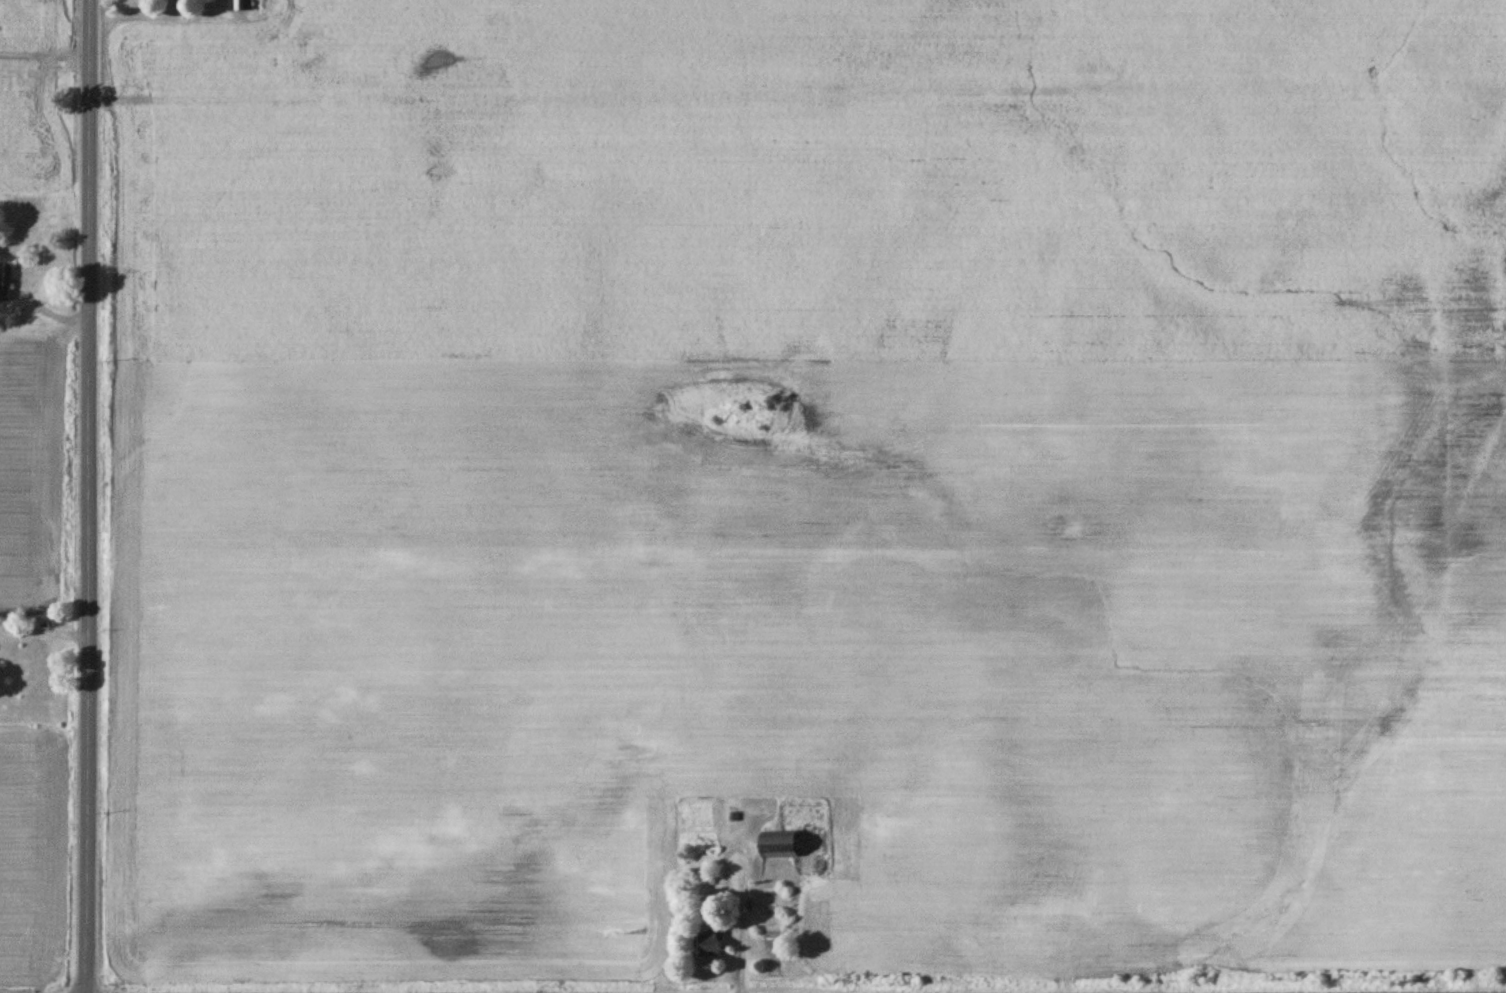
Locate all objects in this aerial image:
building: (239, 6)
road: (45, 55)
road: (578, 113)
building: (4, 282)
road: (88, 496)
road: (44, 635)
building: (780, 847)
building: (710, 947)

